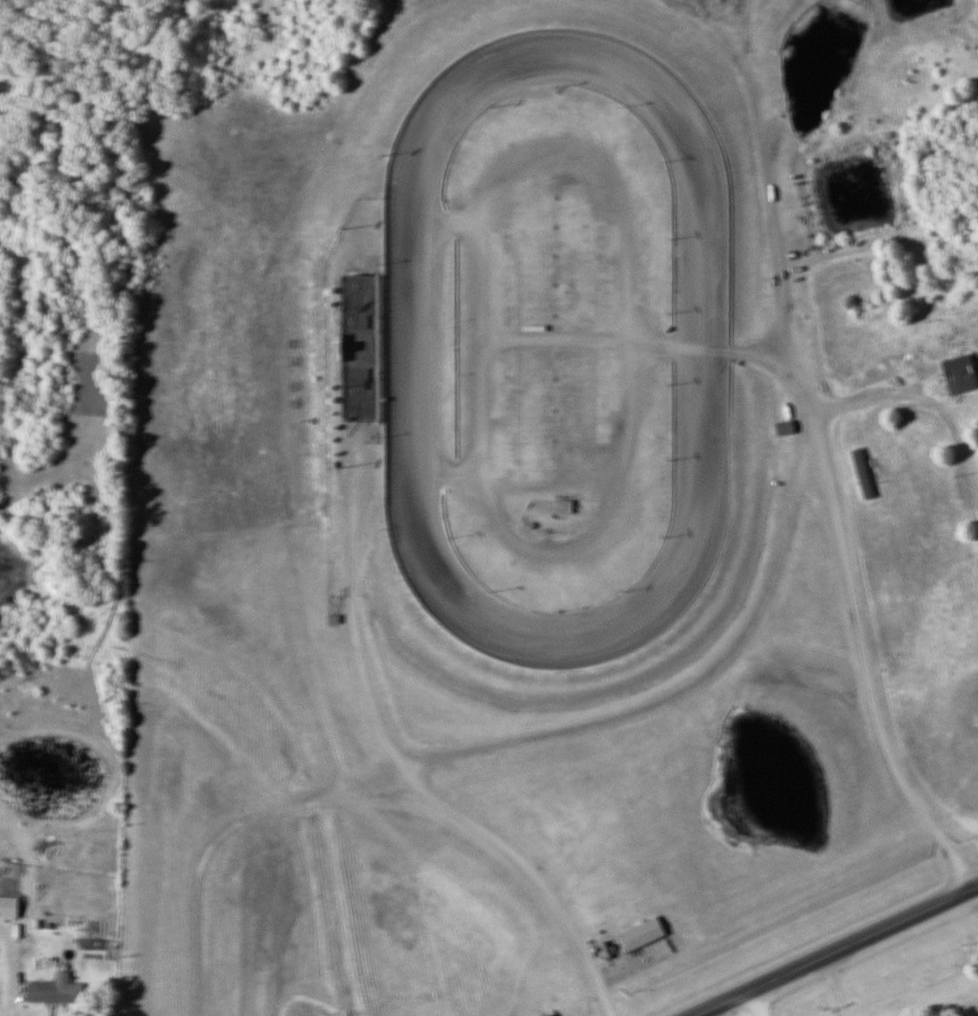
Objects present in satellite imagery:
road: (777, 241)
building: (962, 373)
road: (919, 394)
building: (788, 427)
building: (865, 473)
building: (567, 504)
raceway: (690, 560)
building: (334, 619)
road: (347, 626)
road: (724, 659)
building: (10, 905)
building: (646, 931)
road: (834, 949)
road: (7, 974)
road: (829, 986)
building: (57, 989)
road: (754, 1002)
road: (0, 1015)

